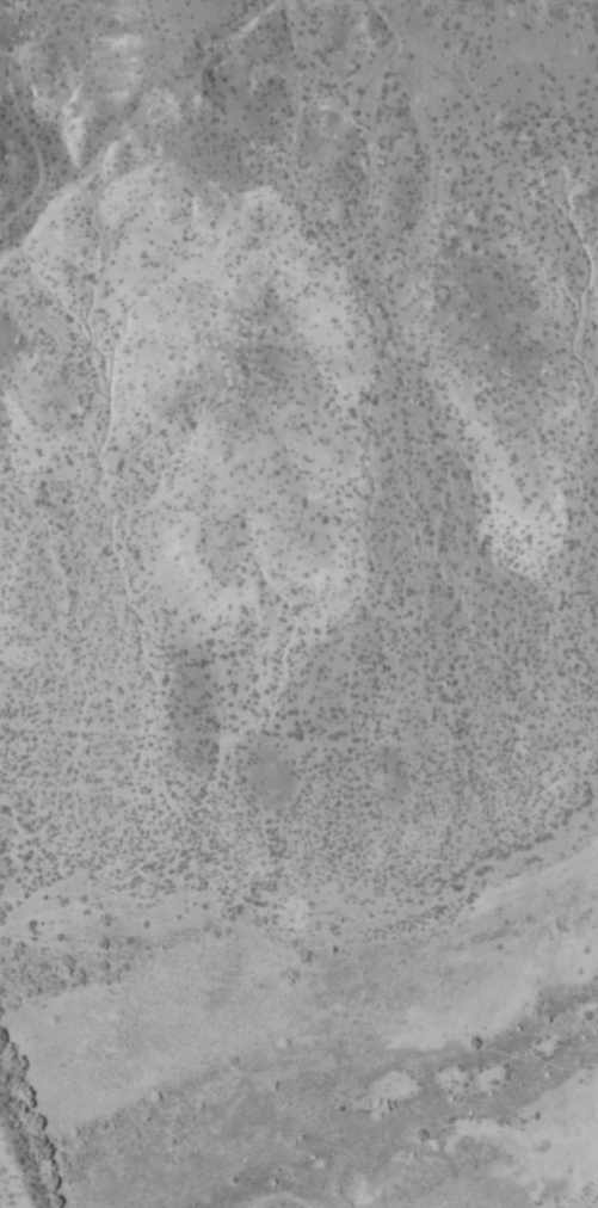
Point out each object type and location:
road: (413, 1177)

